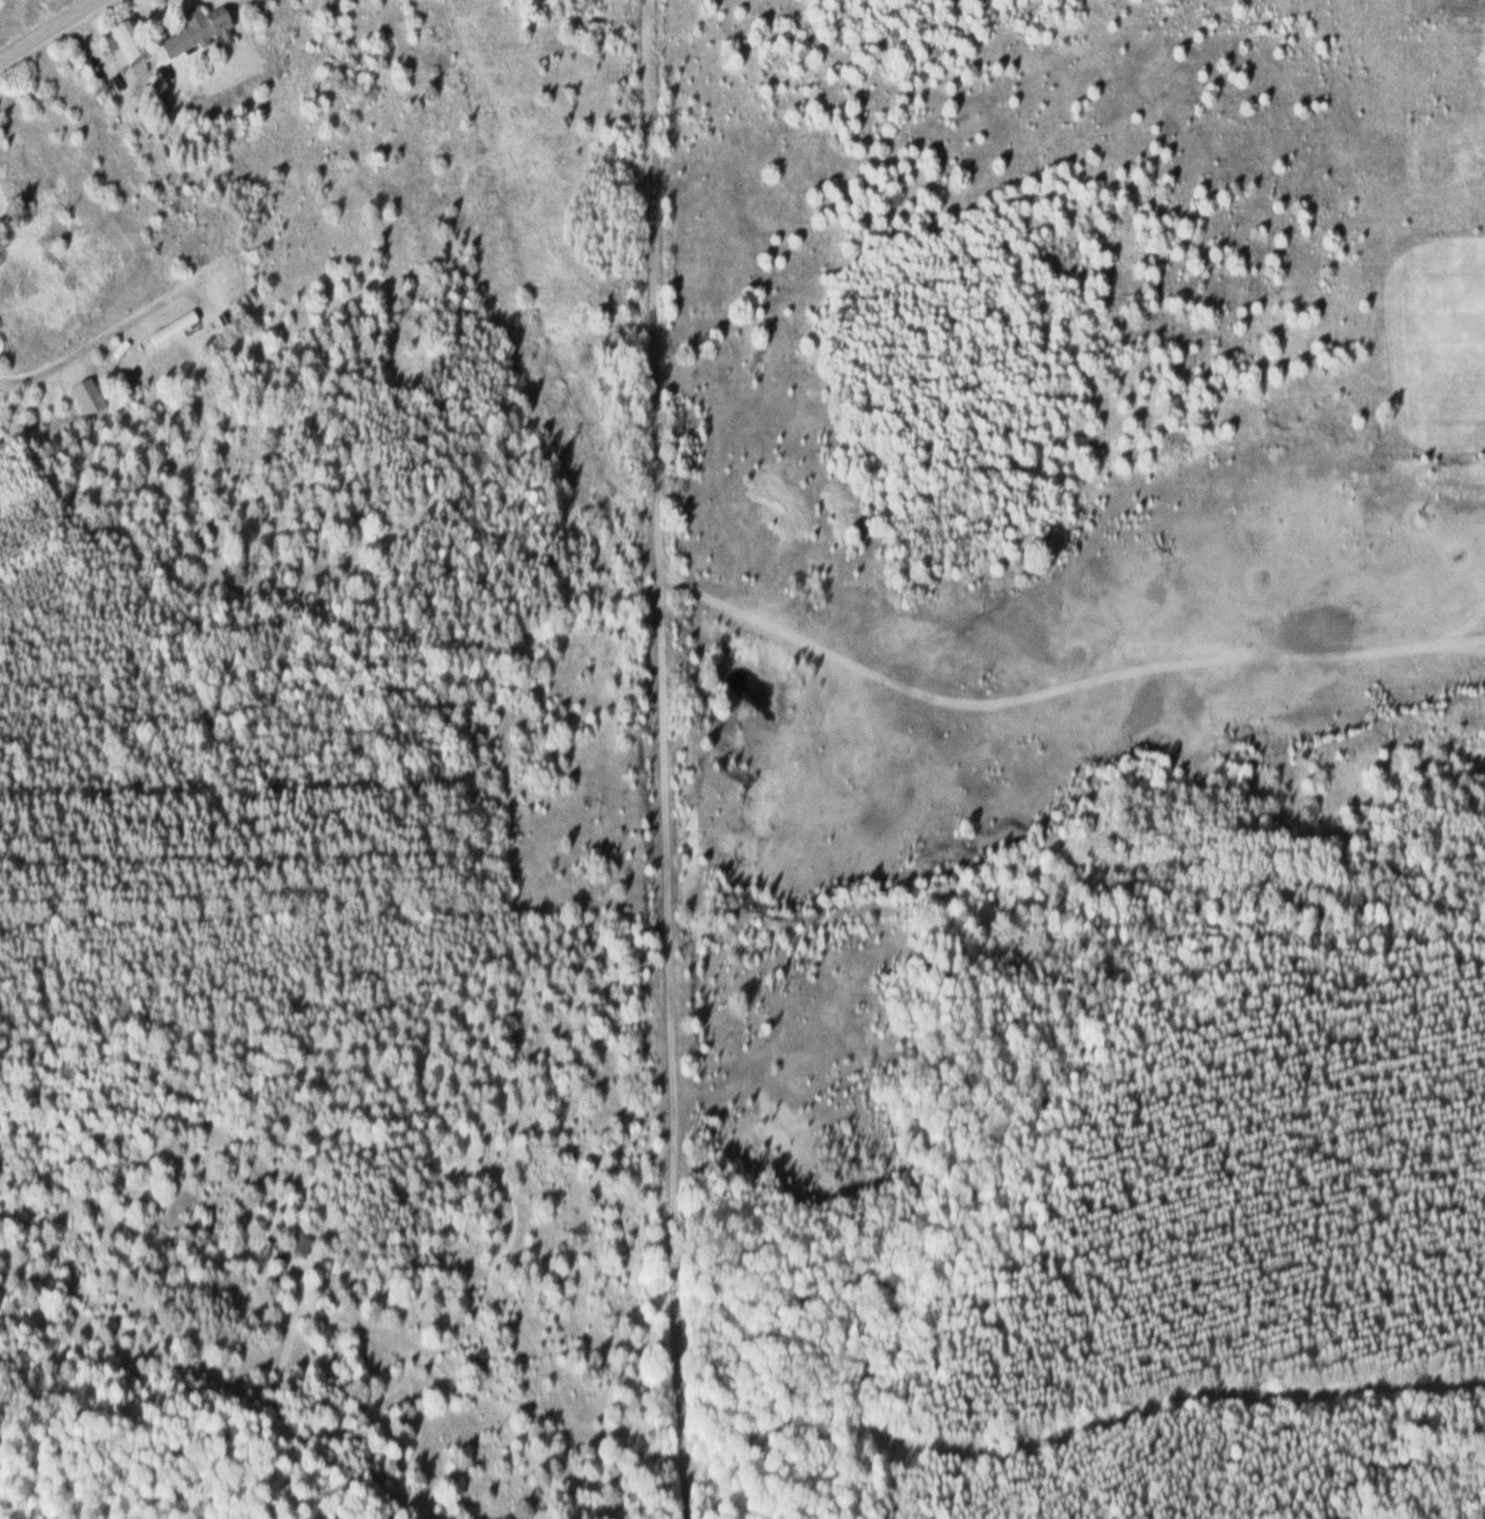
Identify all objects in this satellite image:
road: (51, 31)
building: (200, 35)
building: (176, 331)
road: (669, 759)
building: (304, 1249)

